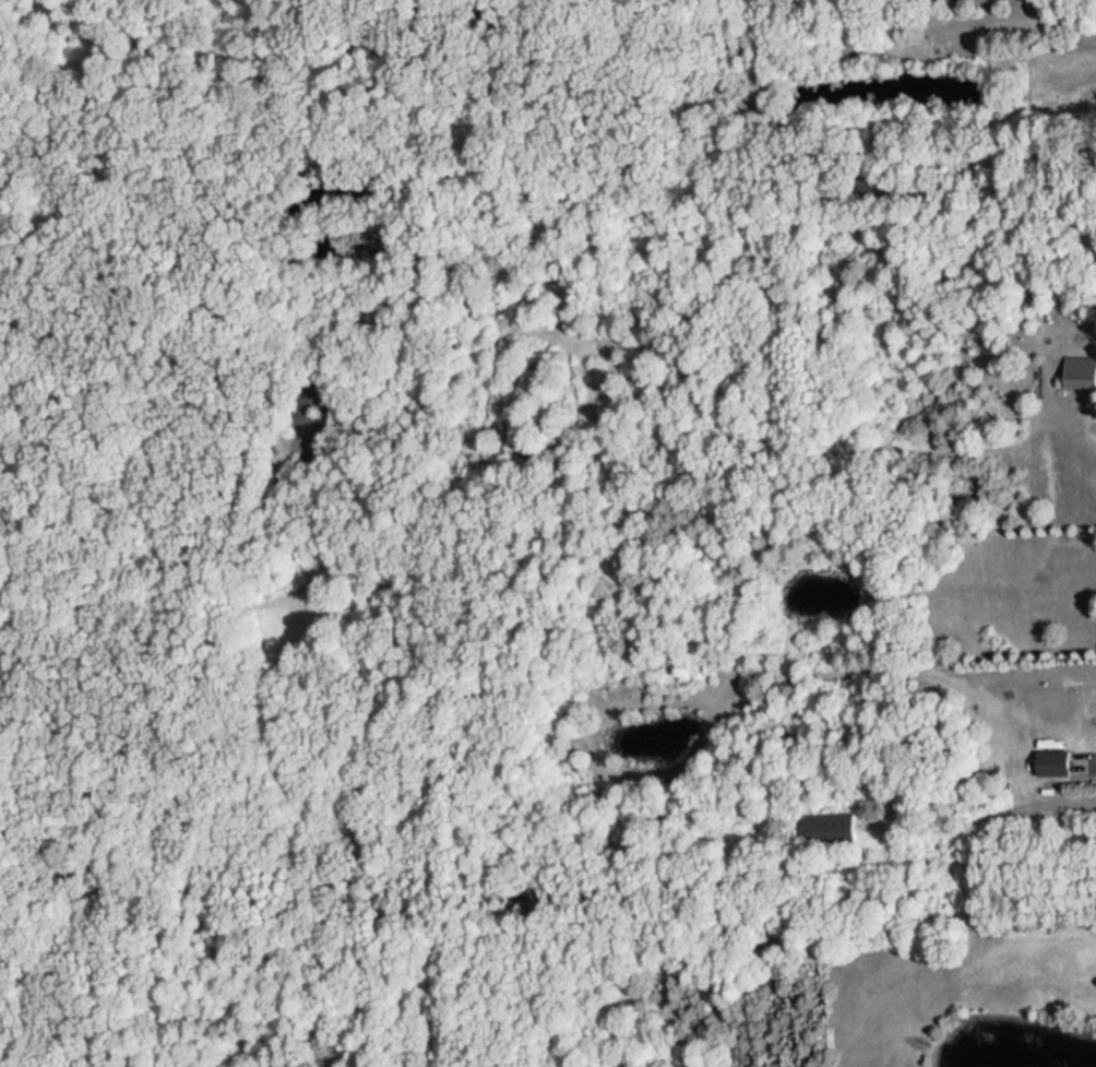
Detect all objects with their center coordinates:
building: (1075, 365)
building: (1047, 754)

